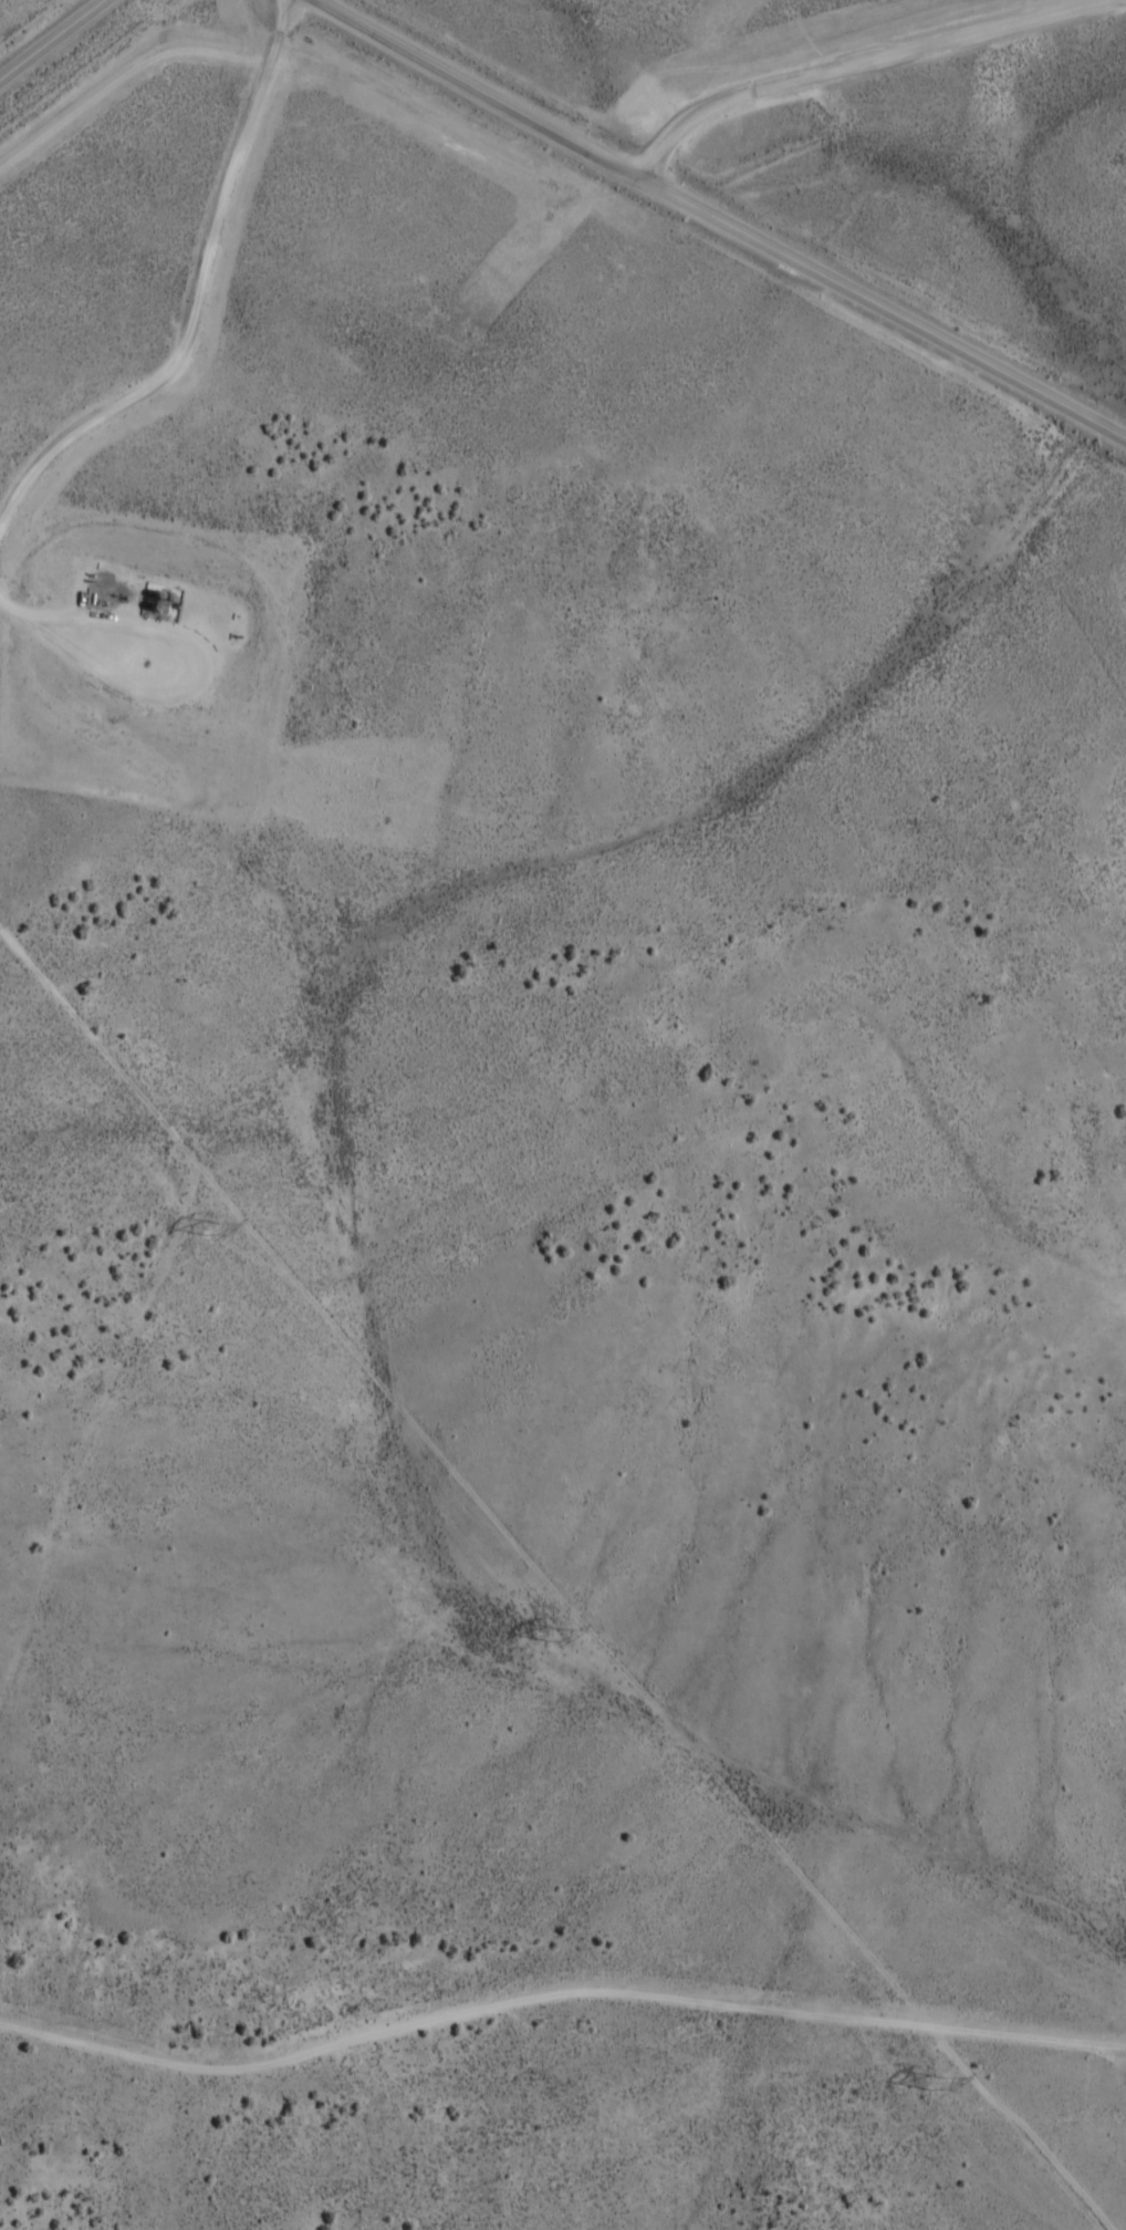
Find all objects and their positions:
road: (50, 37)
road: (837, 71)
road: (719, 221)
power tower: (215, 1232)
power tower: (557, 1639)
power tower: (931, 2087)

